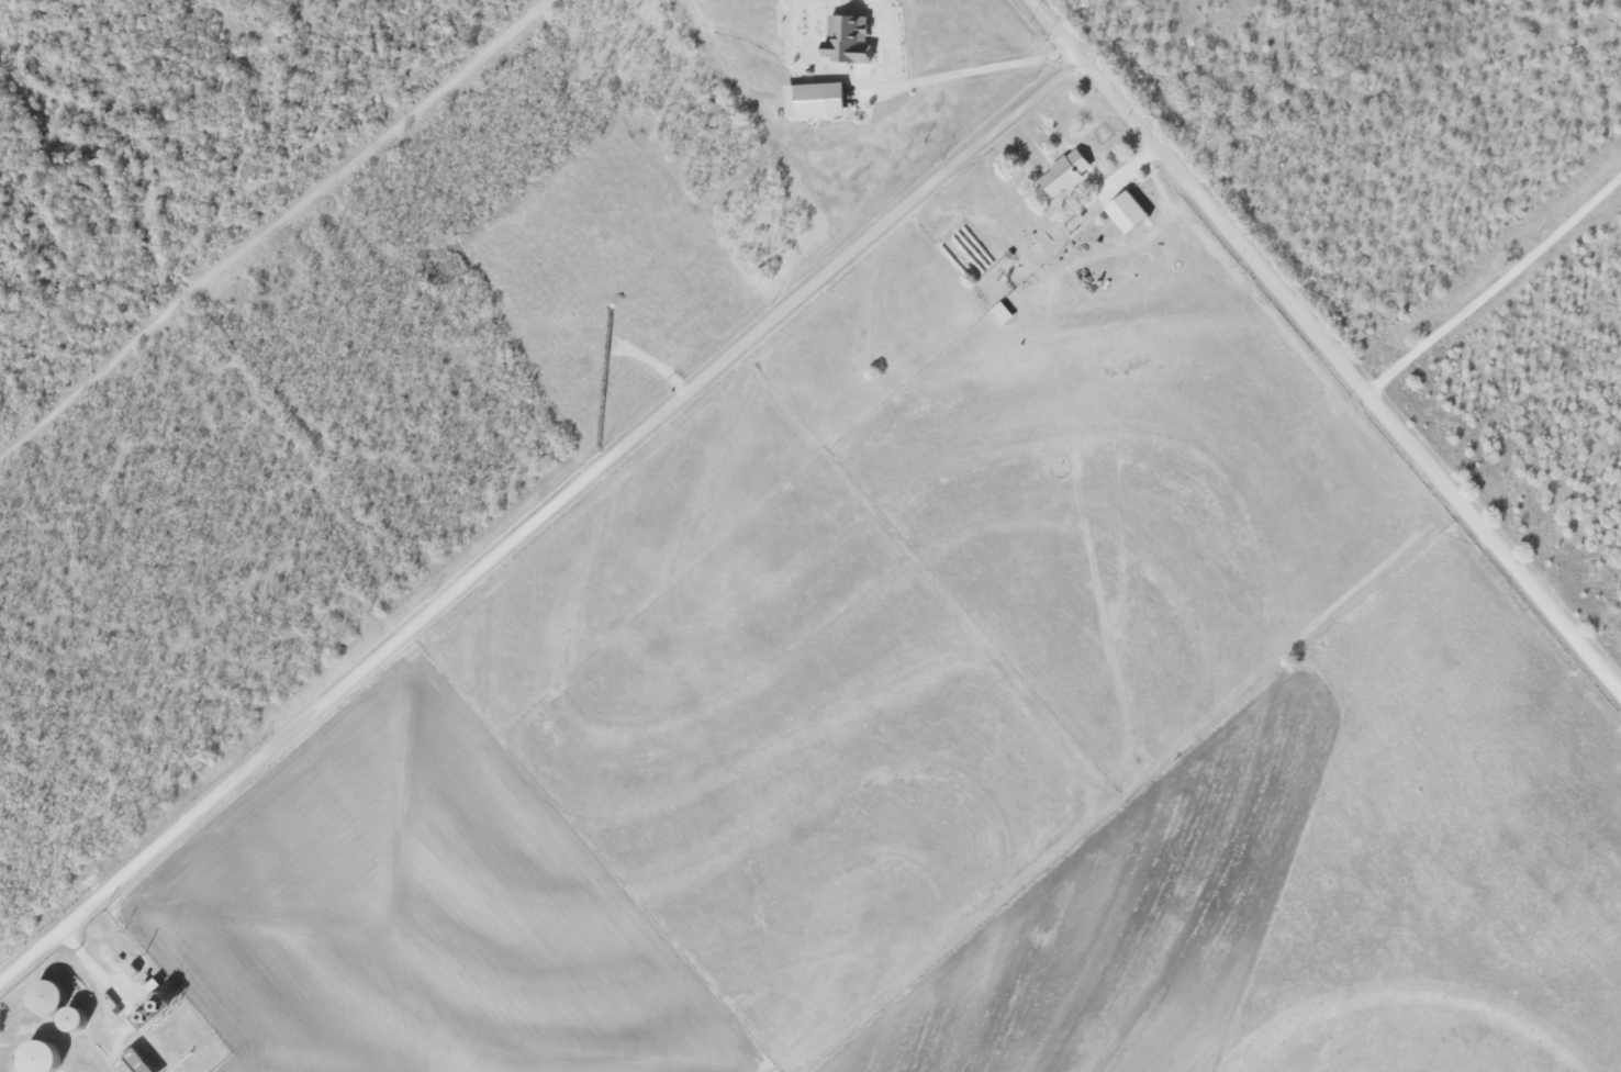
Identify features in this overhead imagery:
road: (903, 38)
road: (969, 70)
building: (813, 100)
building: (1063, 174)
building: (1123, 212)
road: (1495, 290)
building: (1000, 313)
road: (1326, 345)
road: (540, 523)
building: (130, 1062)

